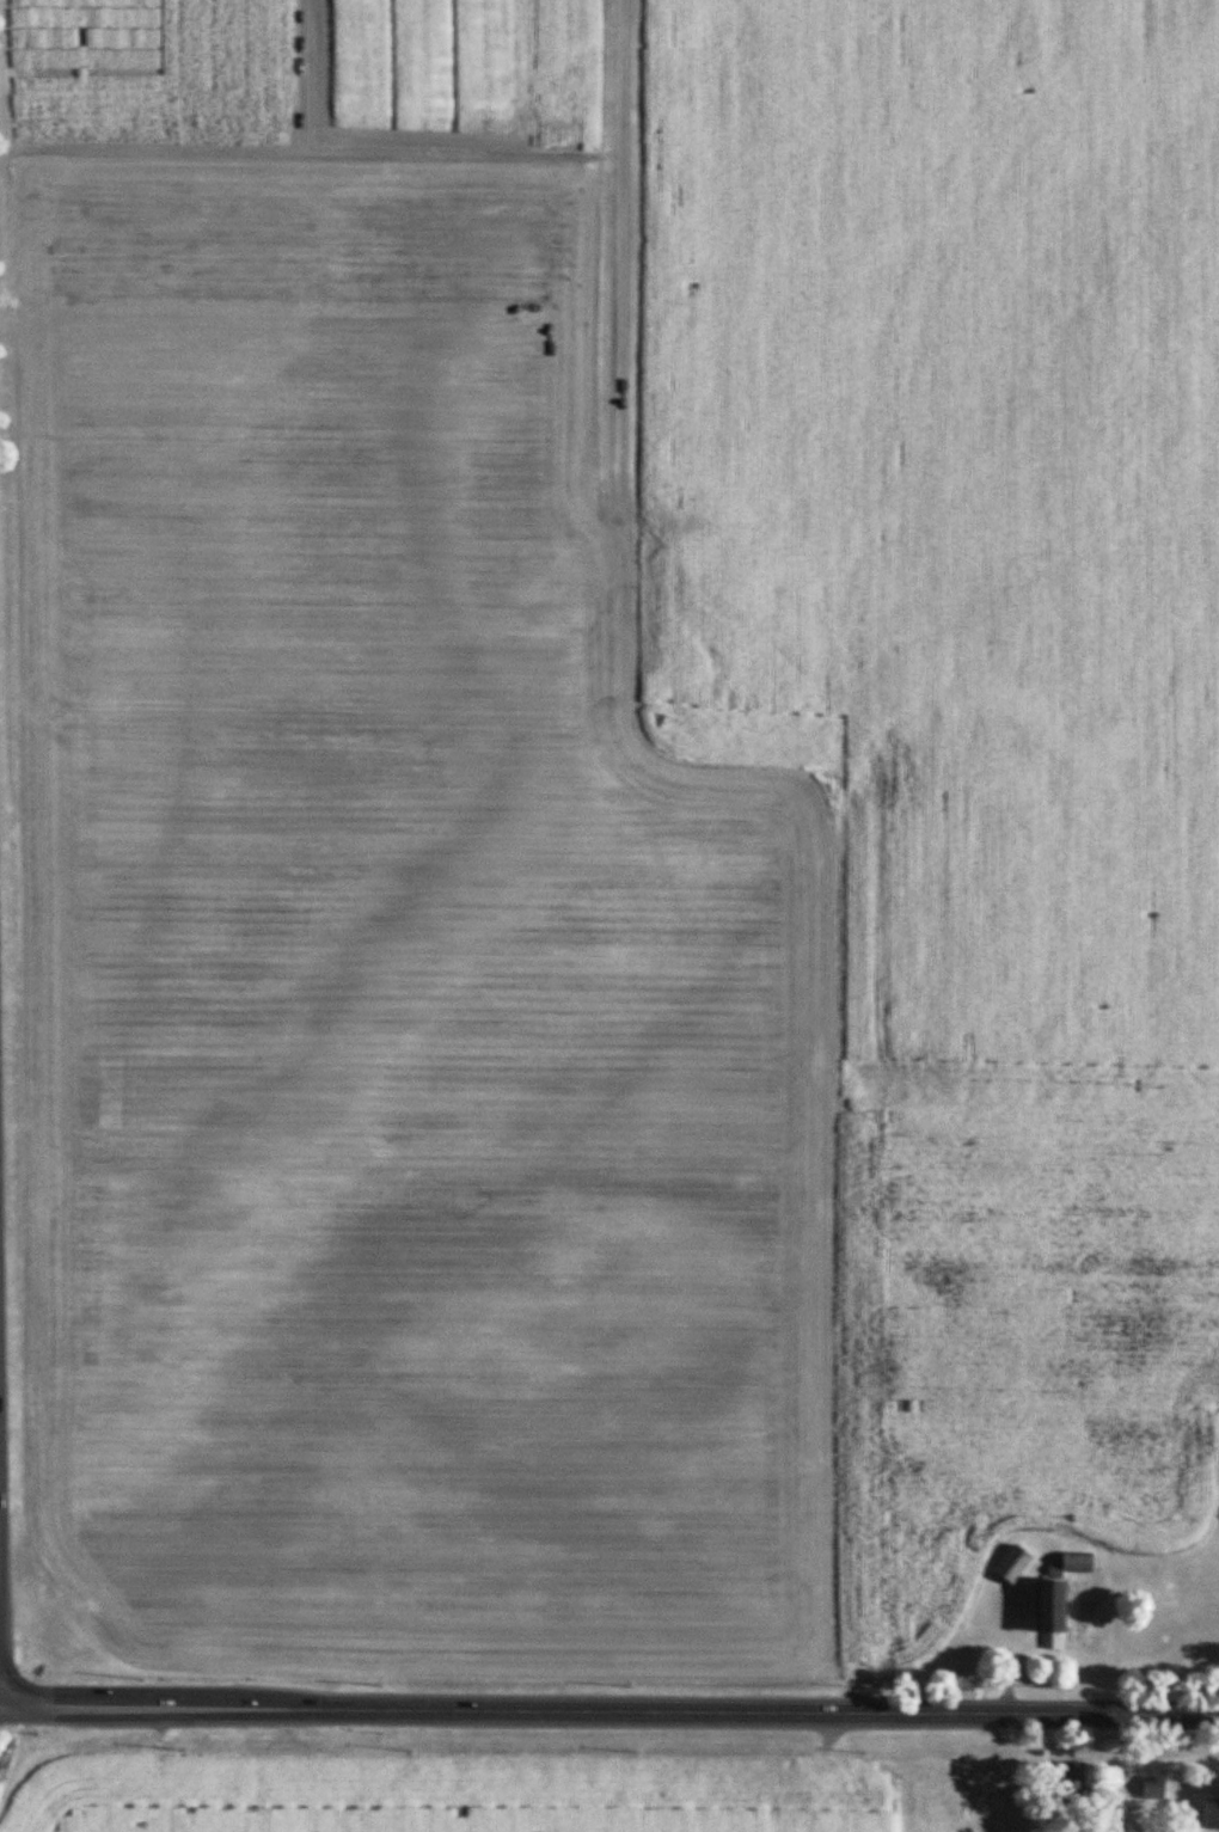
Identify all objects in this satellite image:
crop: (84, 36)
crop: (424, 66)
crop: (558, 72)
crop: (173, 81)
crop: (950, 497)
road: (794, 792)
crop: (1013, 1343)
building: (1076, 1561)
building: (1011, 1562)
building: (1048, 1610)
road: (609, 1705)
building: (1070, 1781)
building: (1150, 1787)
crop: (446, 1795)
building: (1209, 1815)

